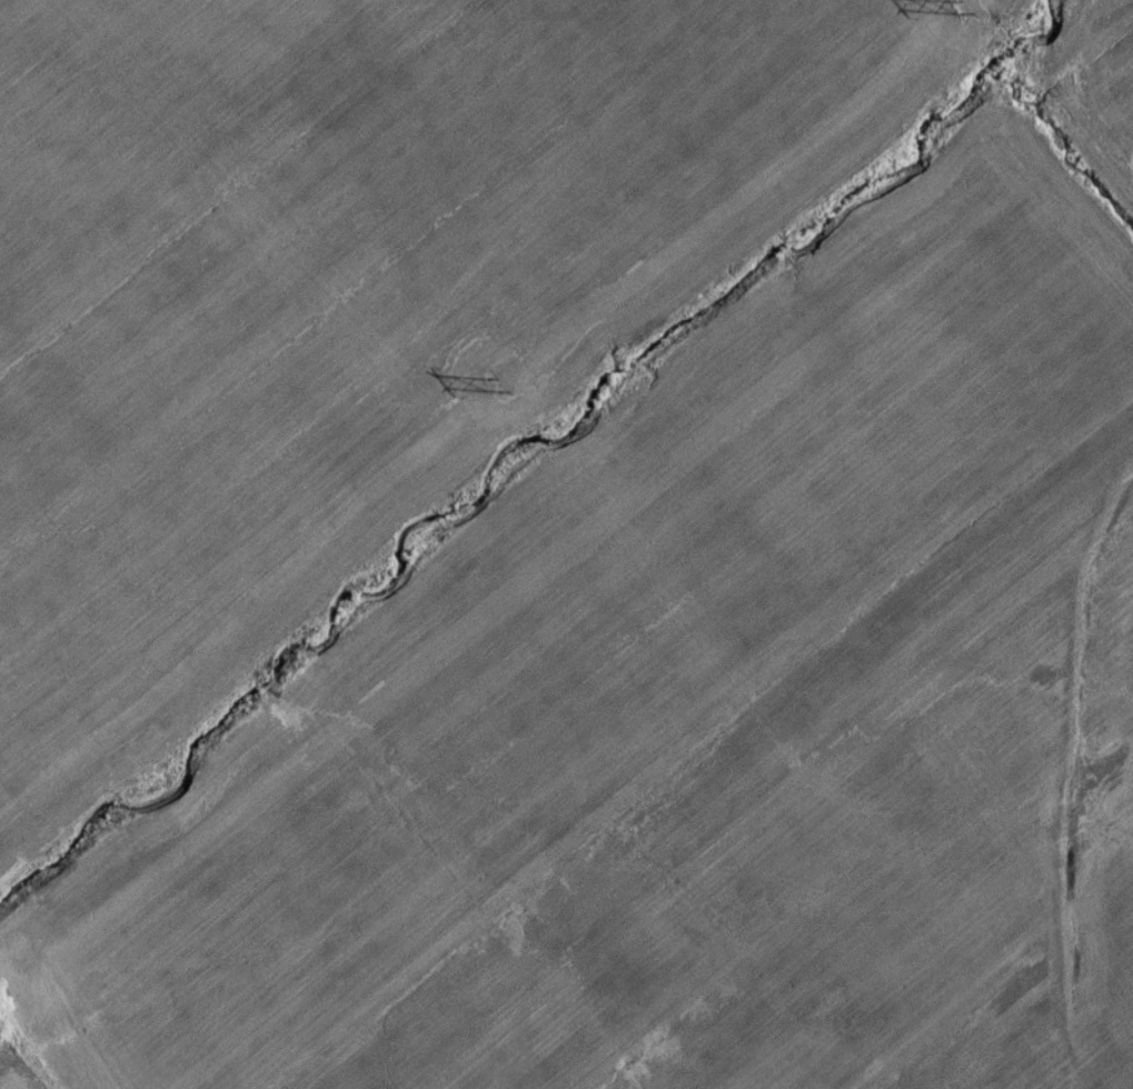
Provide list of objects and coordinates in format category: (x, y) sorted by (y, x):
power tower: (951, 18)
power tower: (490, 393)

